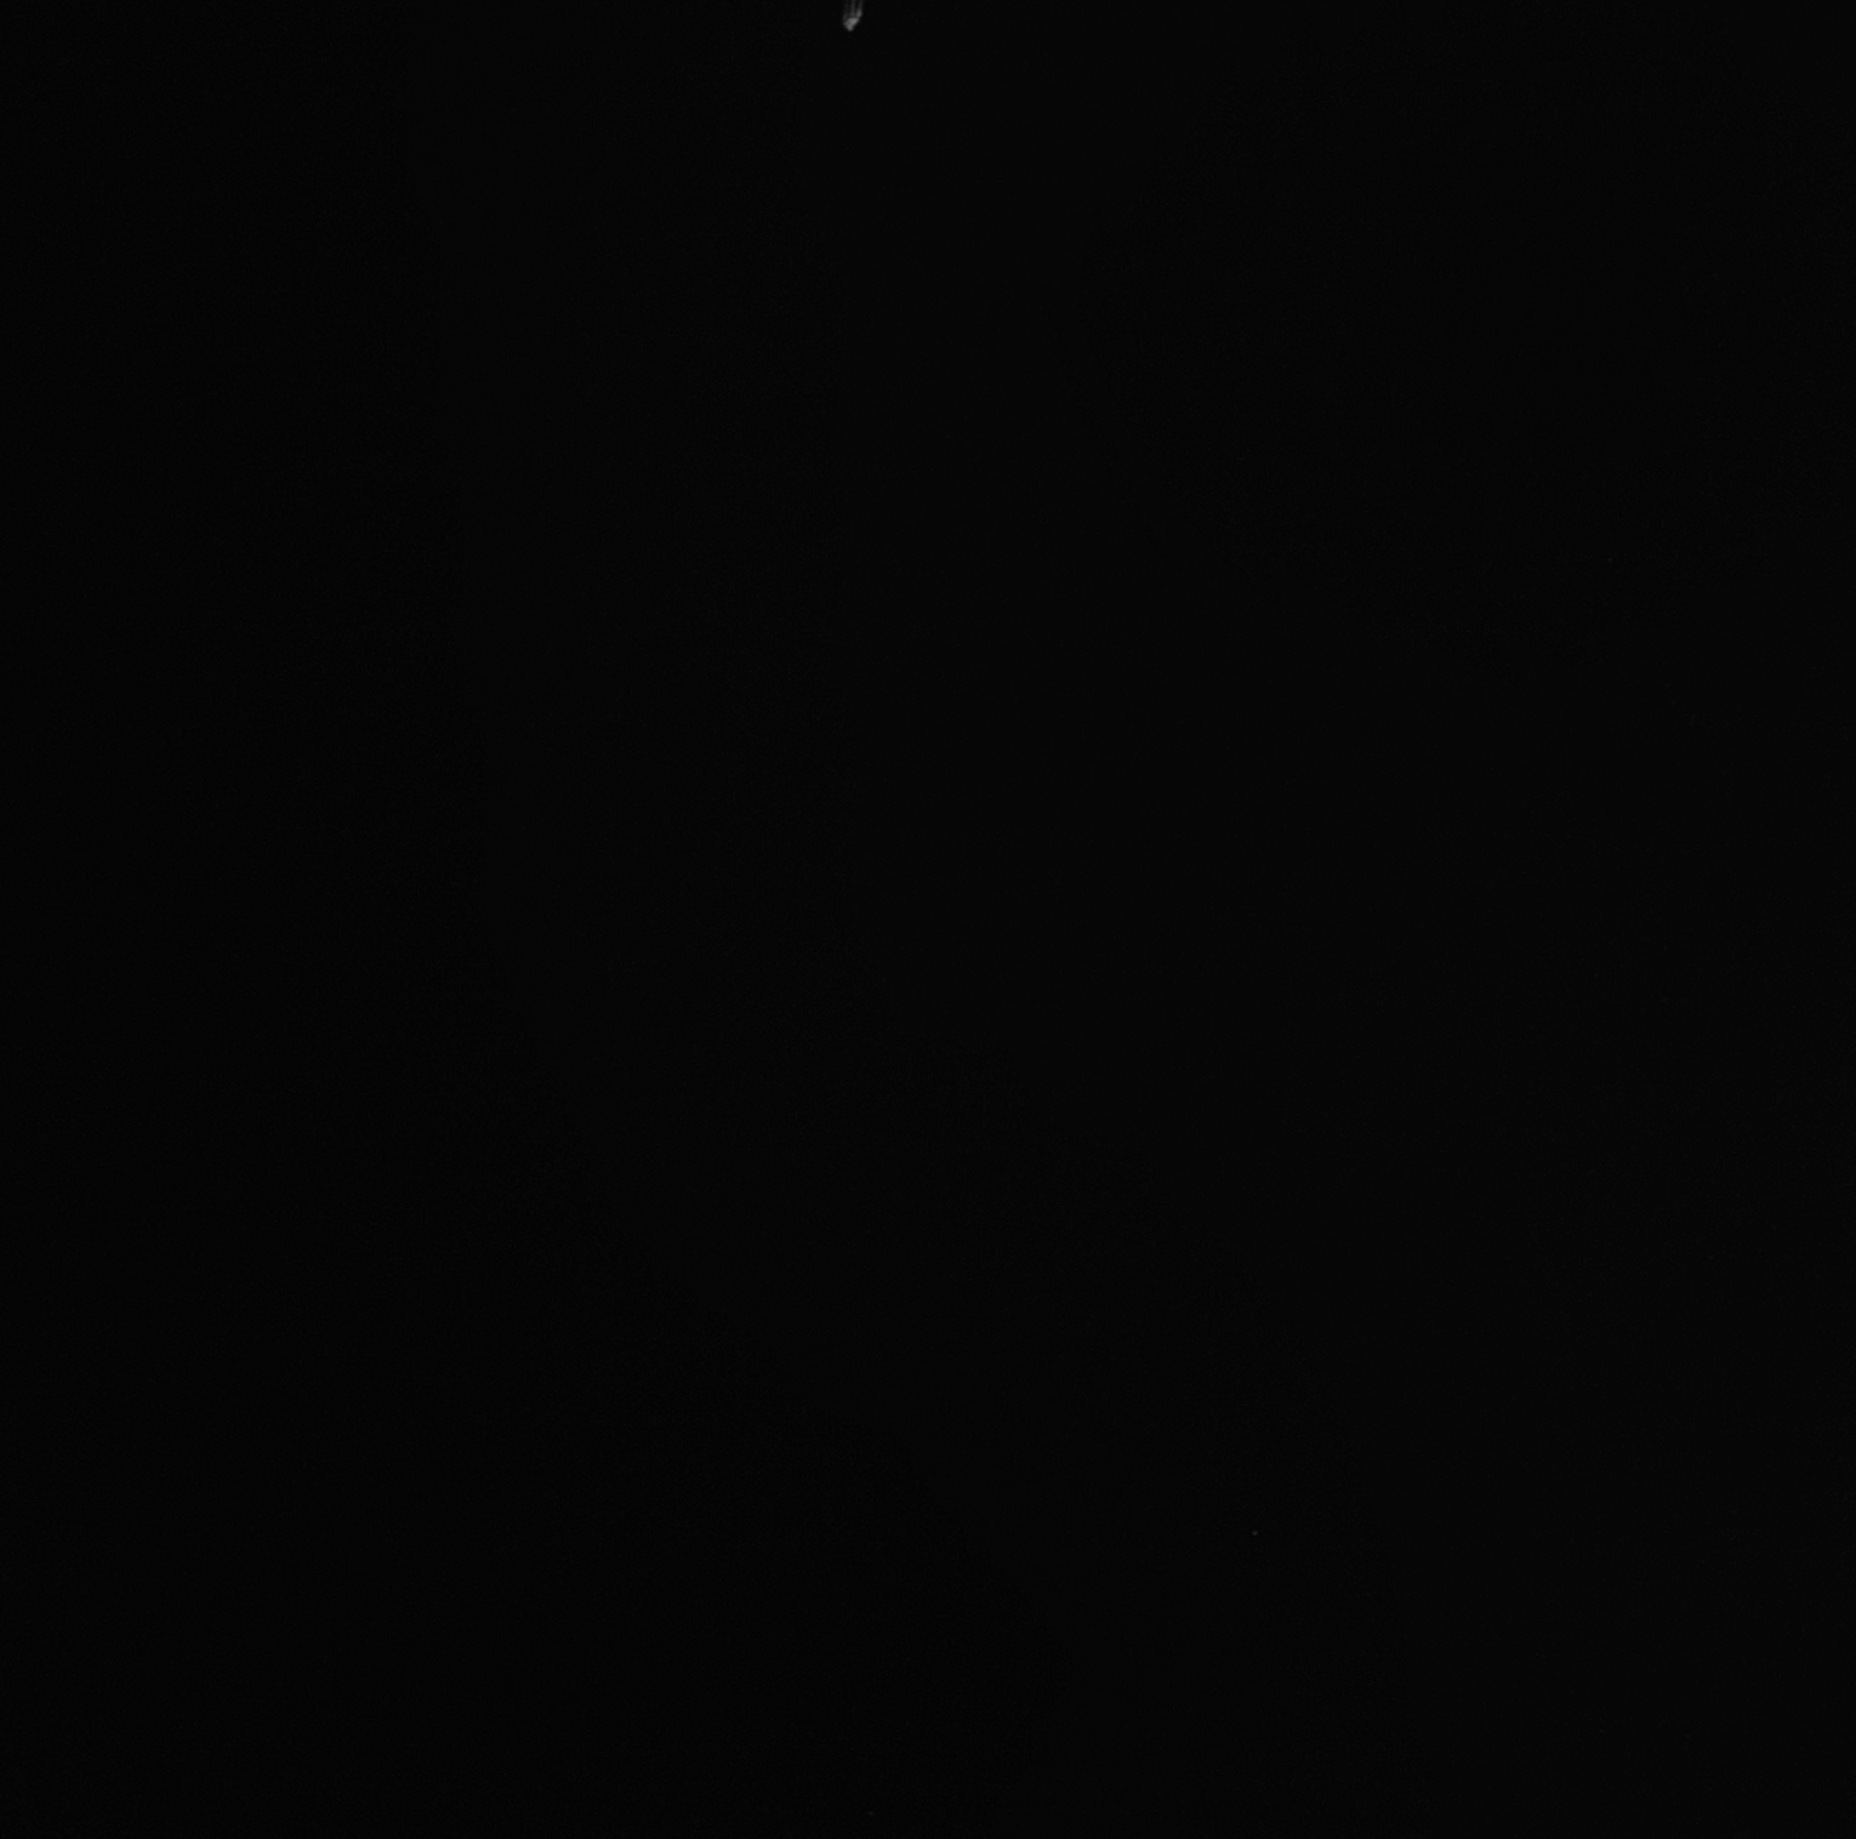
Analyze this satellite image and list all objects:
river: (541, 919)

